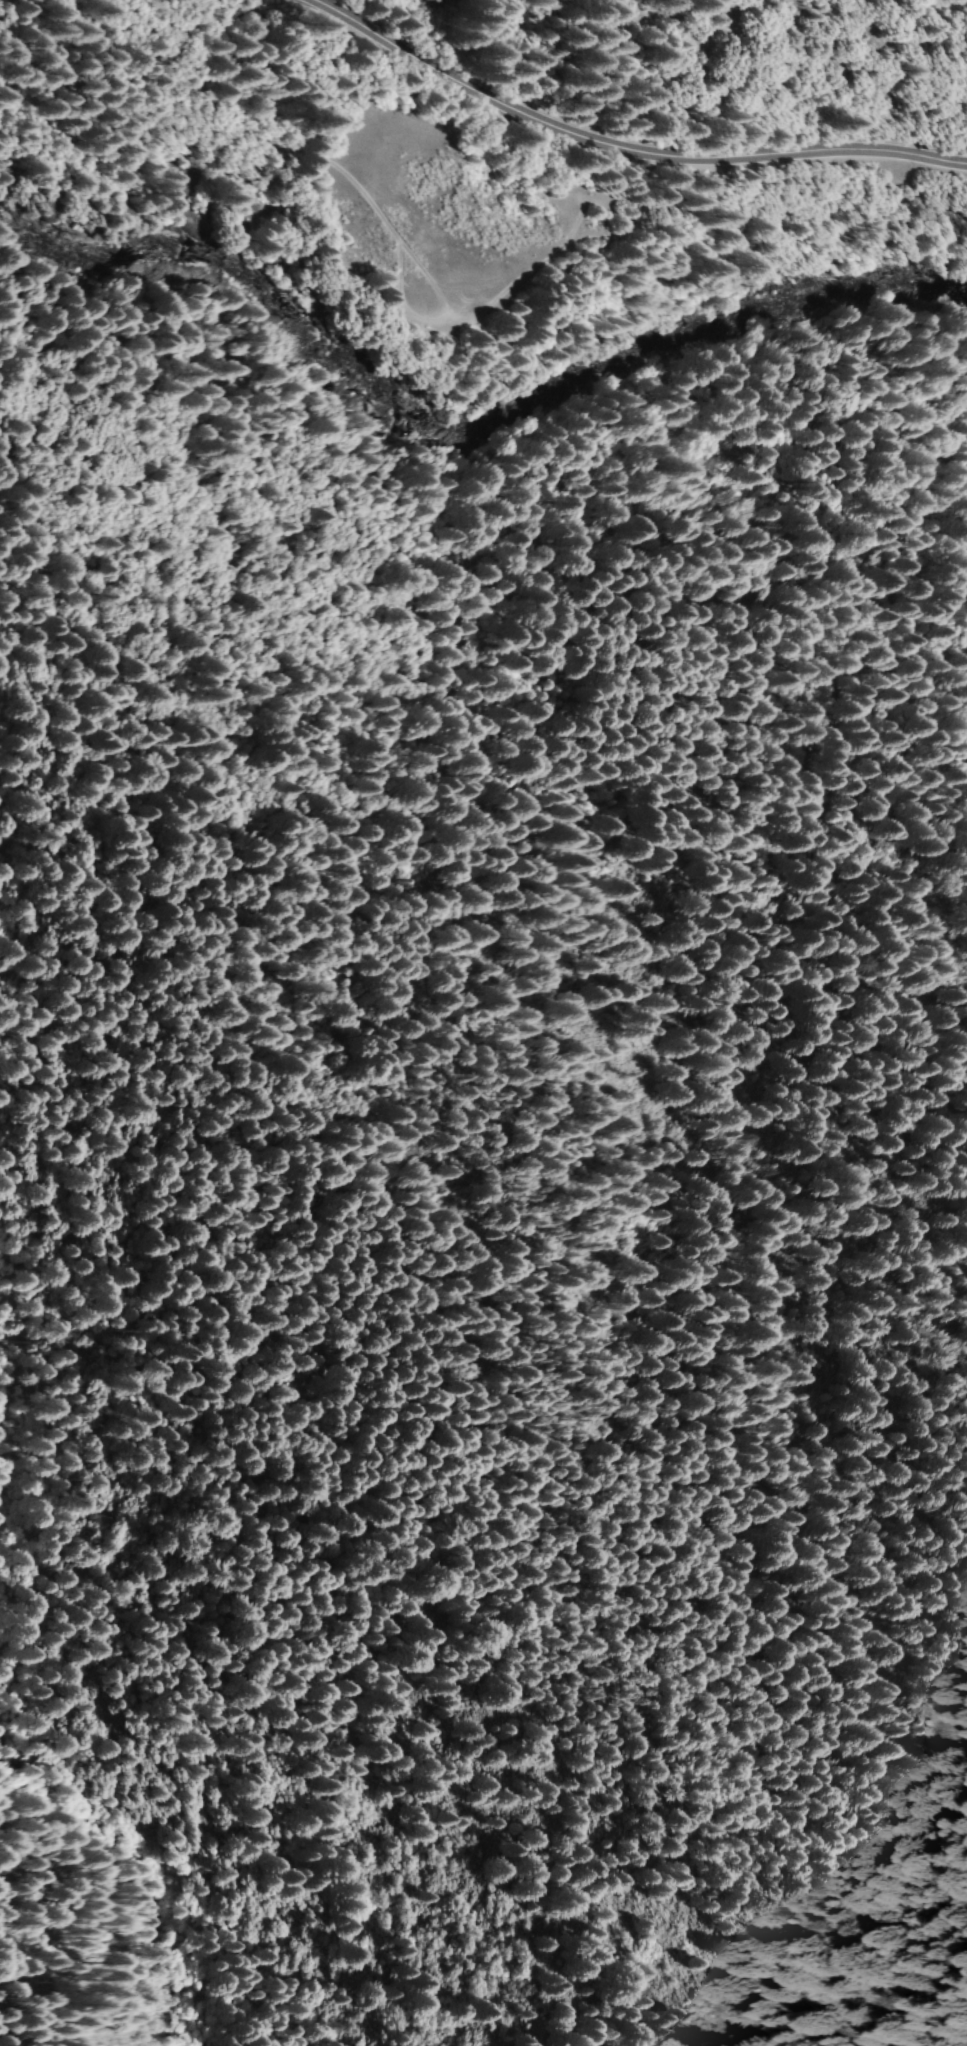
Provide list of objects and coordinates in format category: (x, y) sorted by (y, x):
road: (624, 144)
road: (346, 165)
river: (459, 426)

